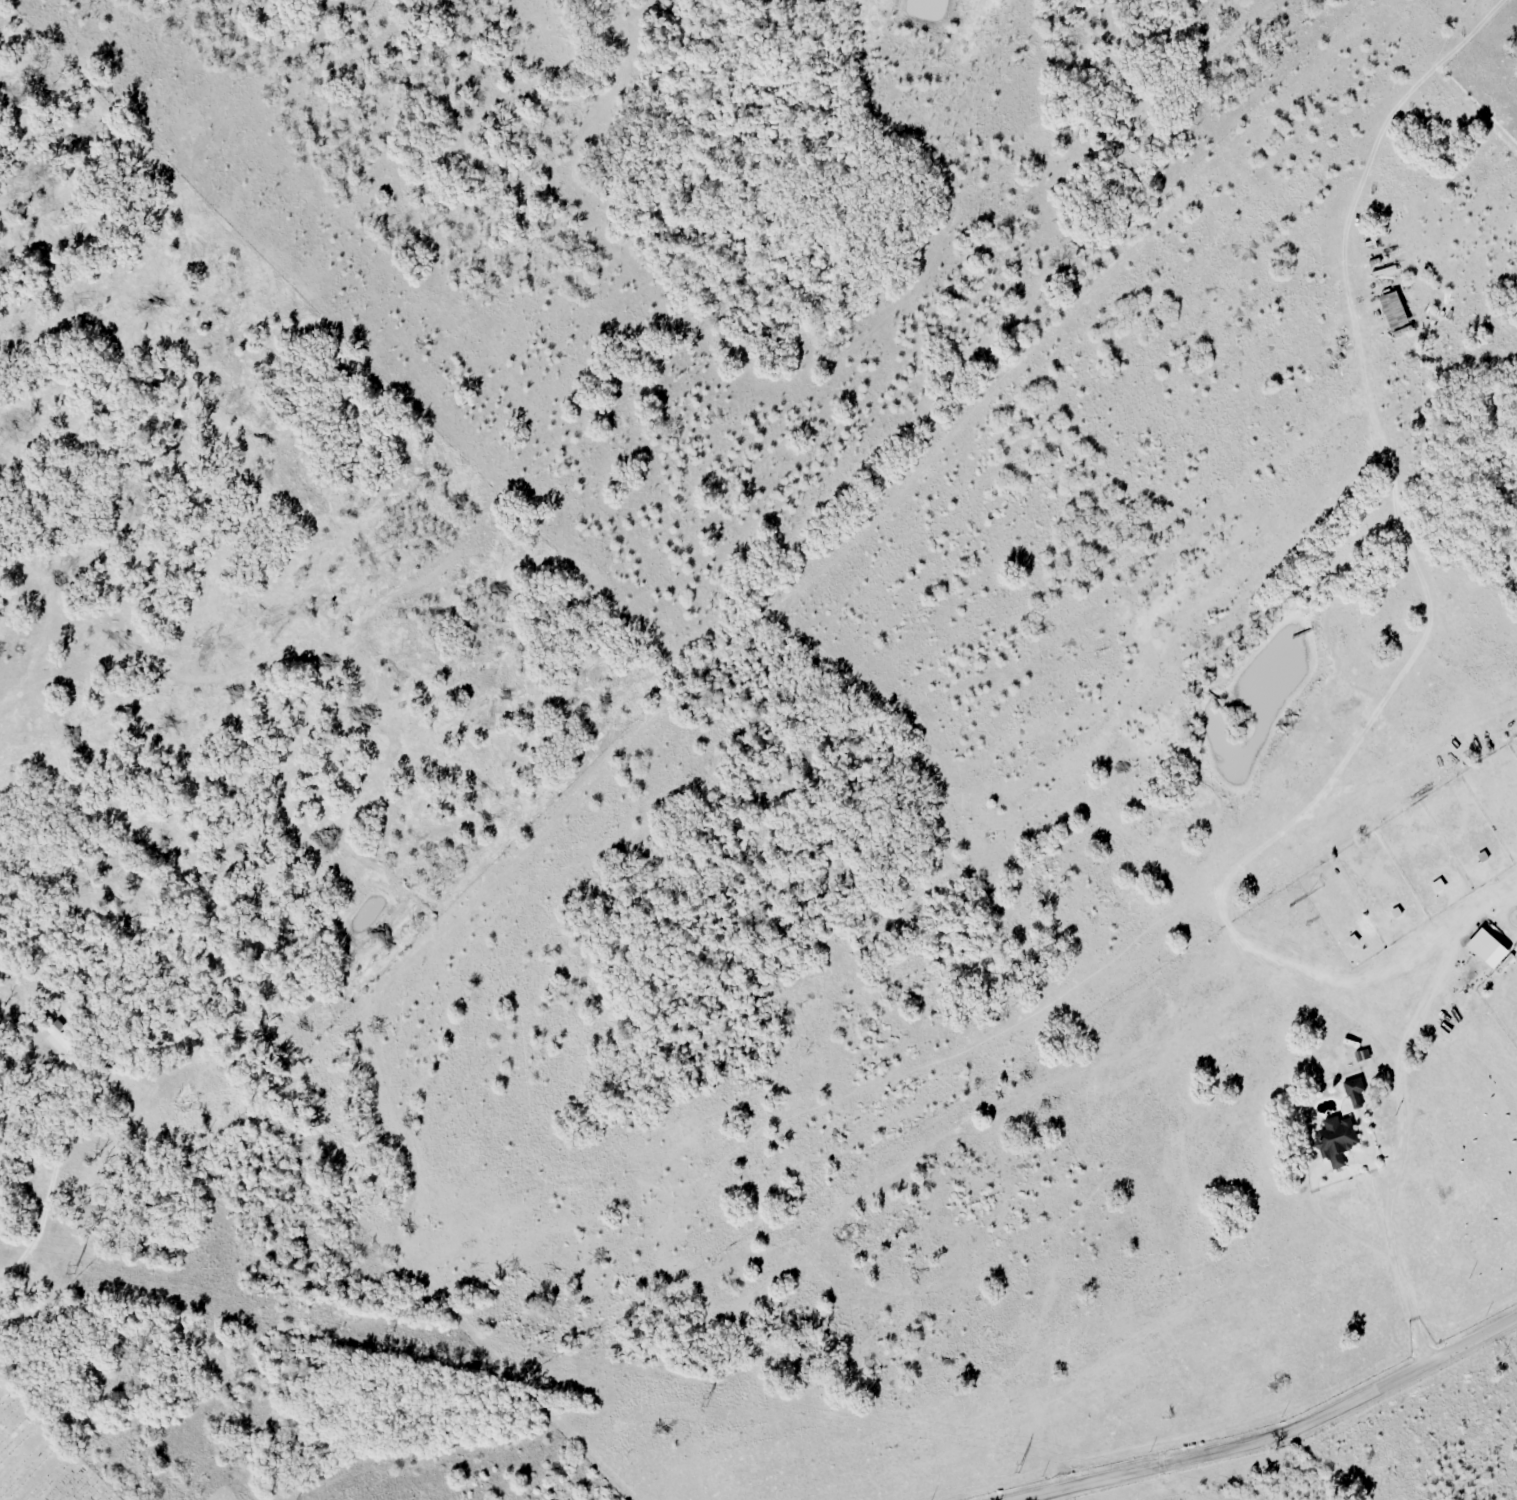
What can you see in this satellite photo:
building: (1393, 310)
building: (59, 1040)
road: (1401, 1109)
building: (1337, 1139)
road: (1371, 1153)
power tower: (75, 1268)
power tower: (385, 1331)
power tower: (704, 1399)
road: (1269, 1432)
park: (41, 1458)
power tower: (1016, 1465)

